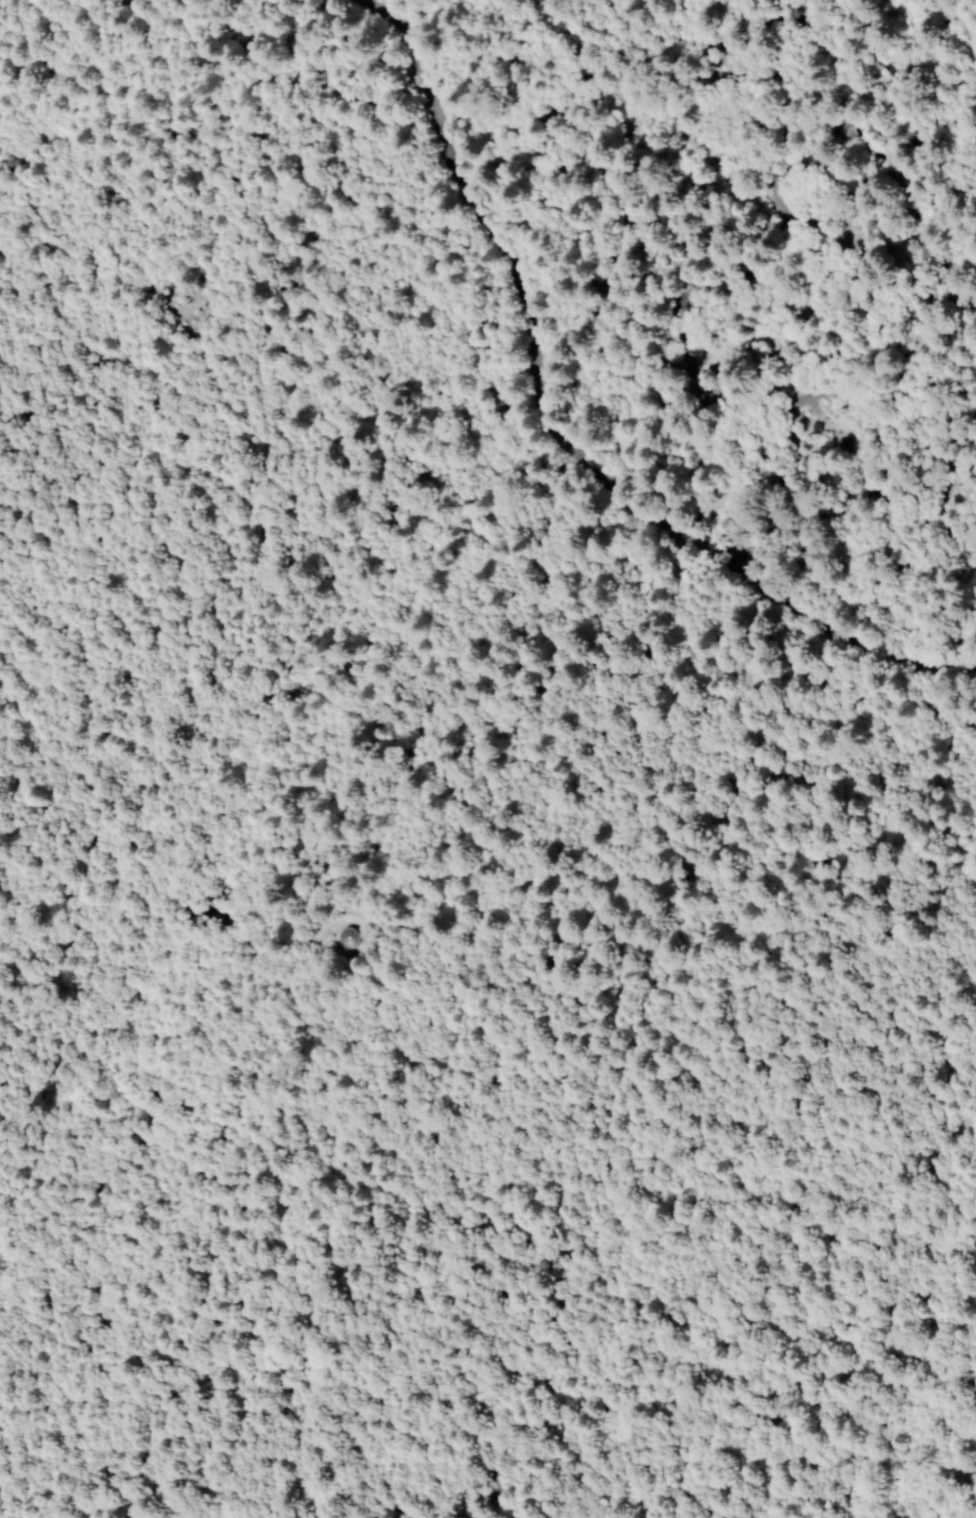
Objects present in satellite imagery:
road: (22, 0)
road: (939, 49)
road: (754, 94)
road: (714, 224)
road: (404, 268)
road: (974, 284)
road: (609, 329)
road: (958, 490)
road: (616, 622)
road: (795, 633)
road: (710, 913)

